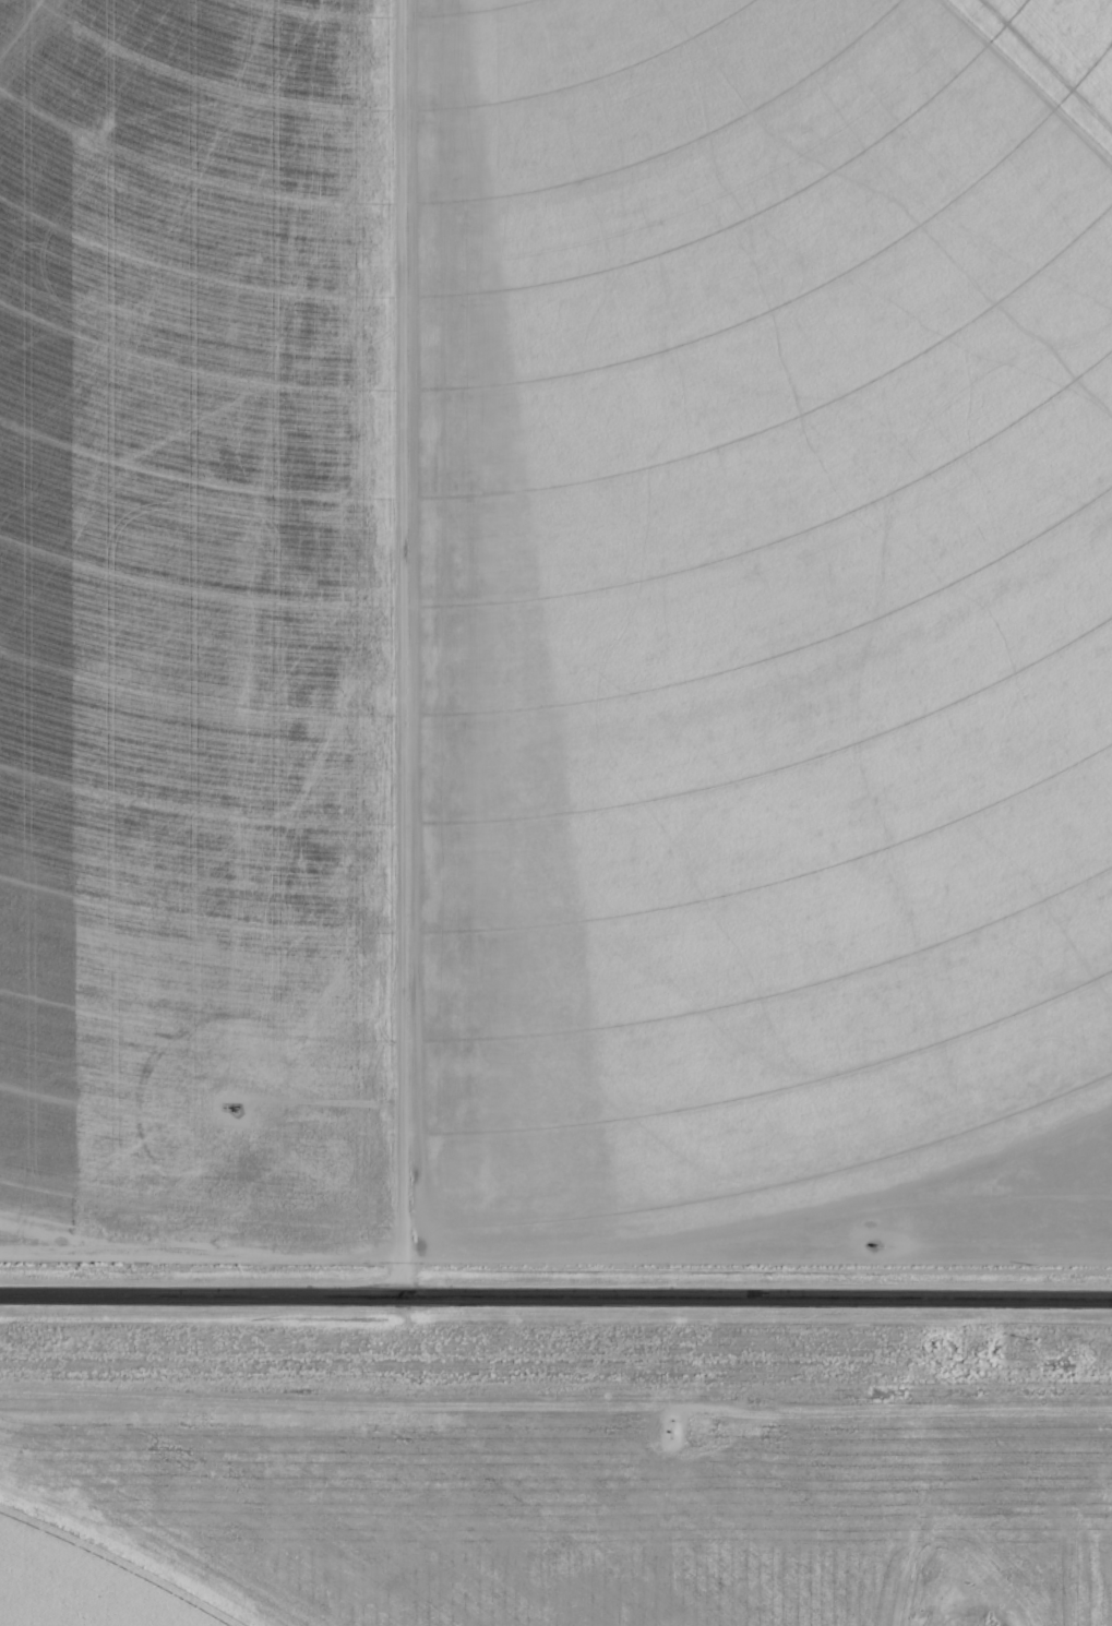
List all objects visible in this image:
road: (555, 1294)

